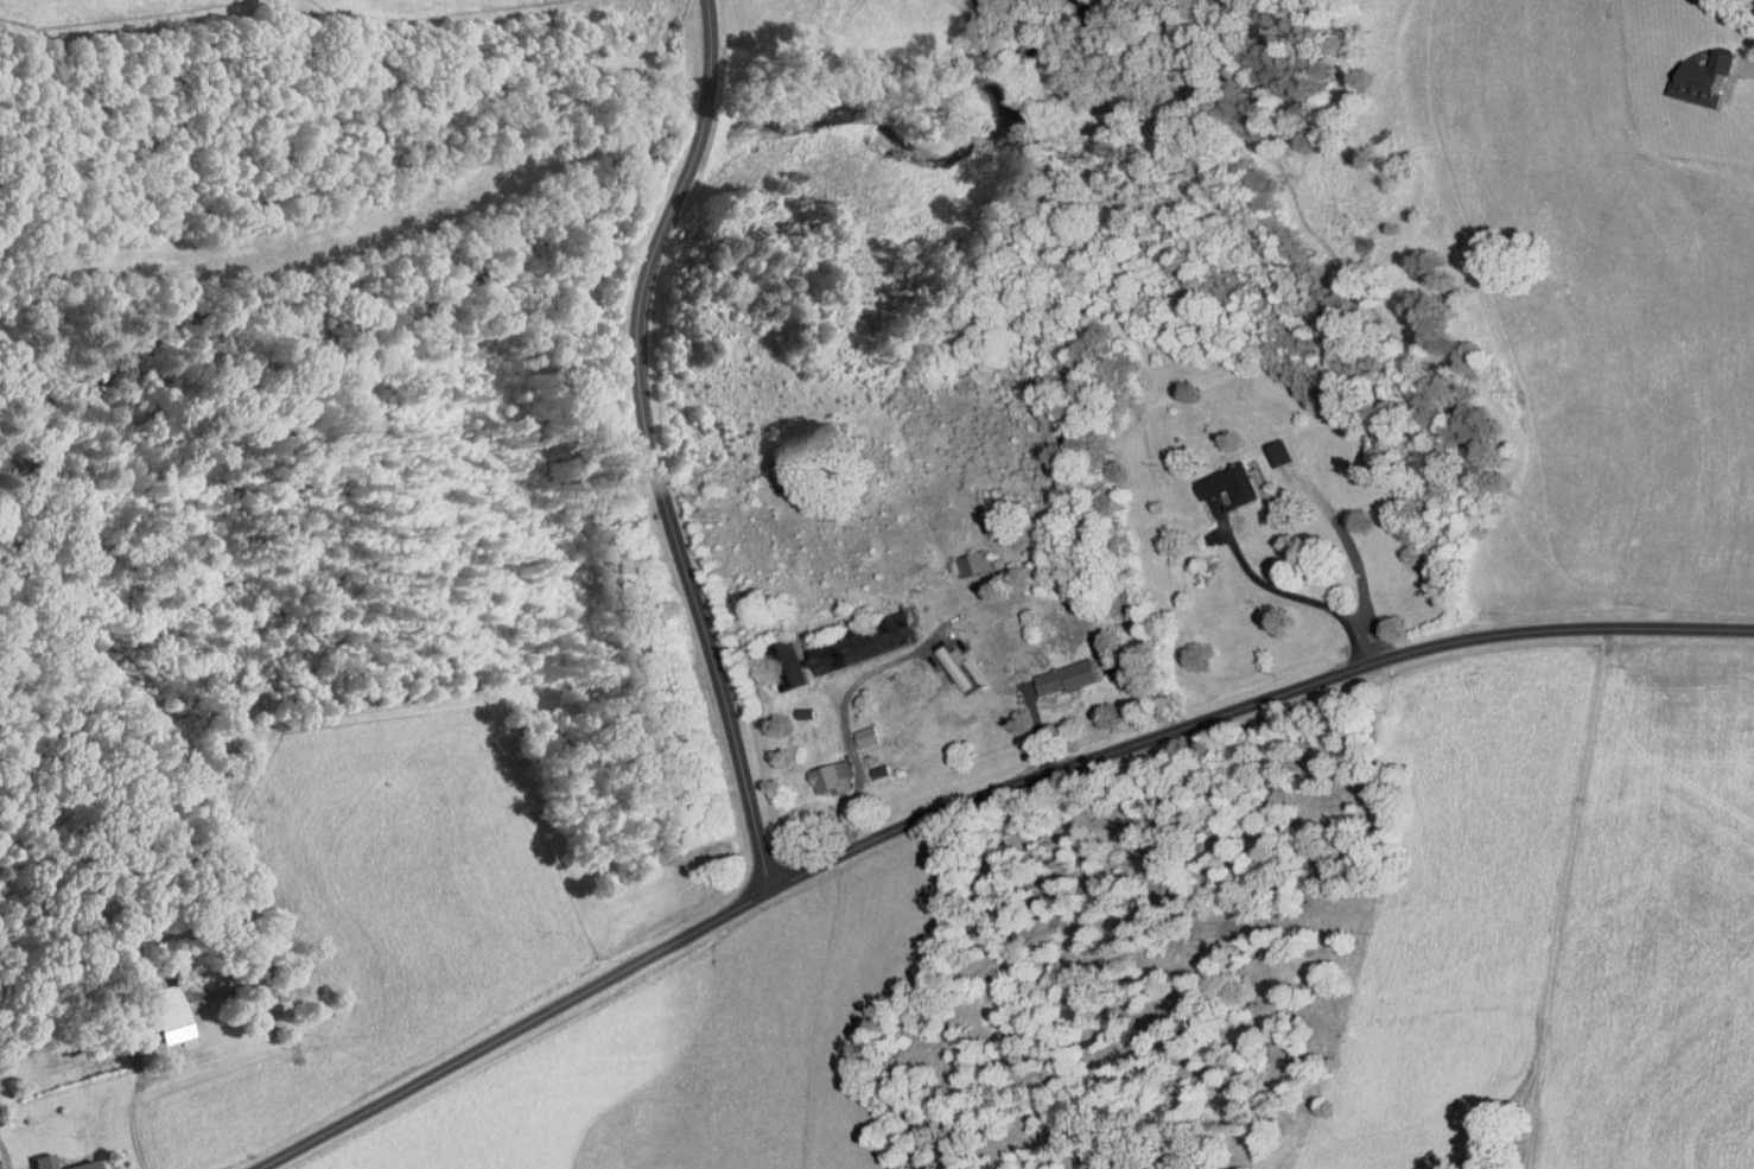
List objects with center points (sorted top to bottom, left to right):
building: (1704, 78)
road: (648, 446)
building: (1232, 483)
road: (1297, 597)
building: (862, 642)
building: (786, 665)
building: (954, 668)
building: (1068, 676)
building: (866, 736)
building: (879, 770)
building: (831, 777)
road: (968, 801)
building: (170, 1015)
building: (87, 1163)

